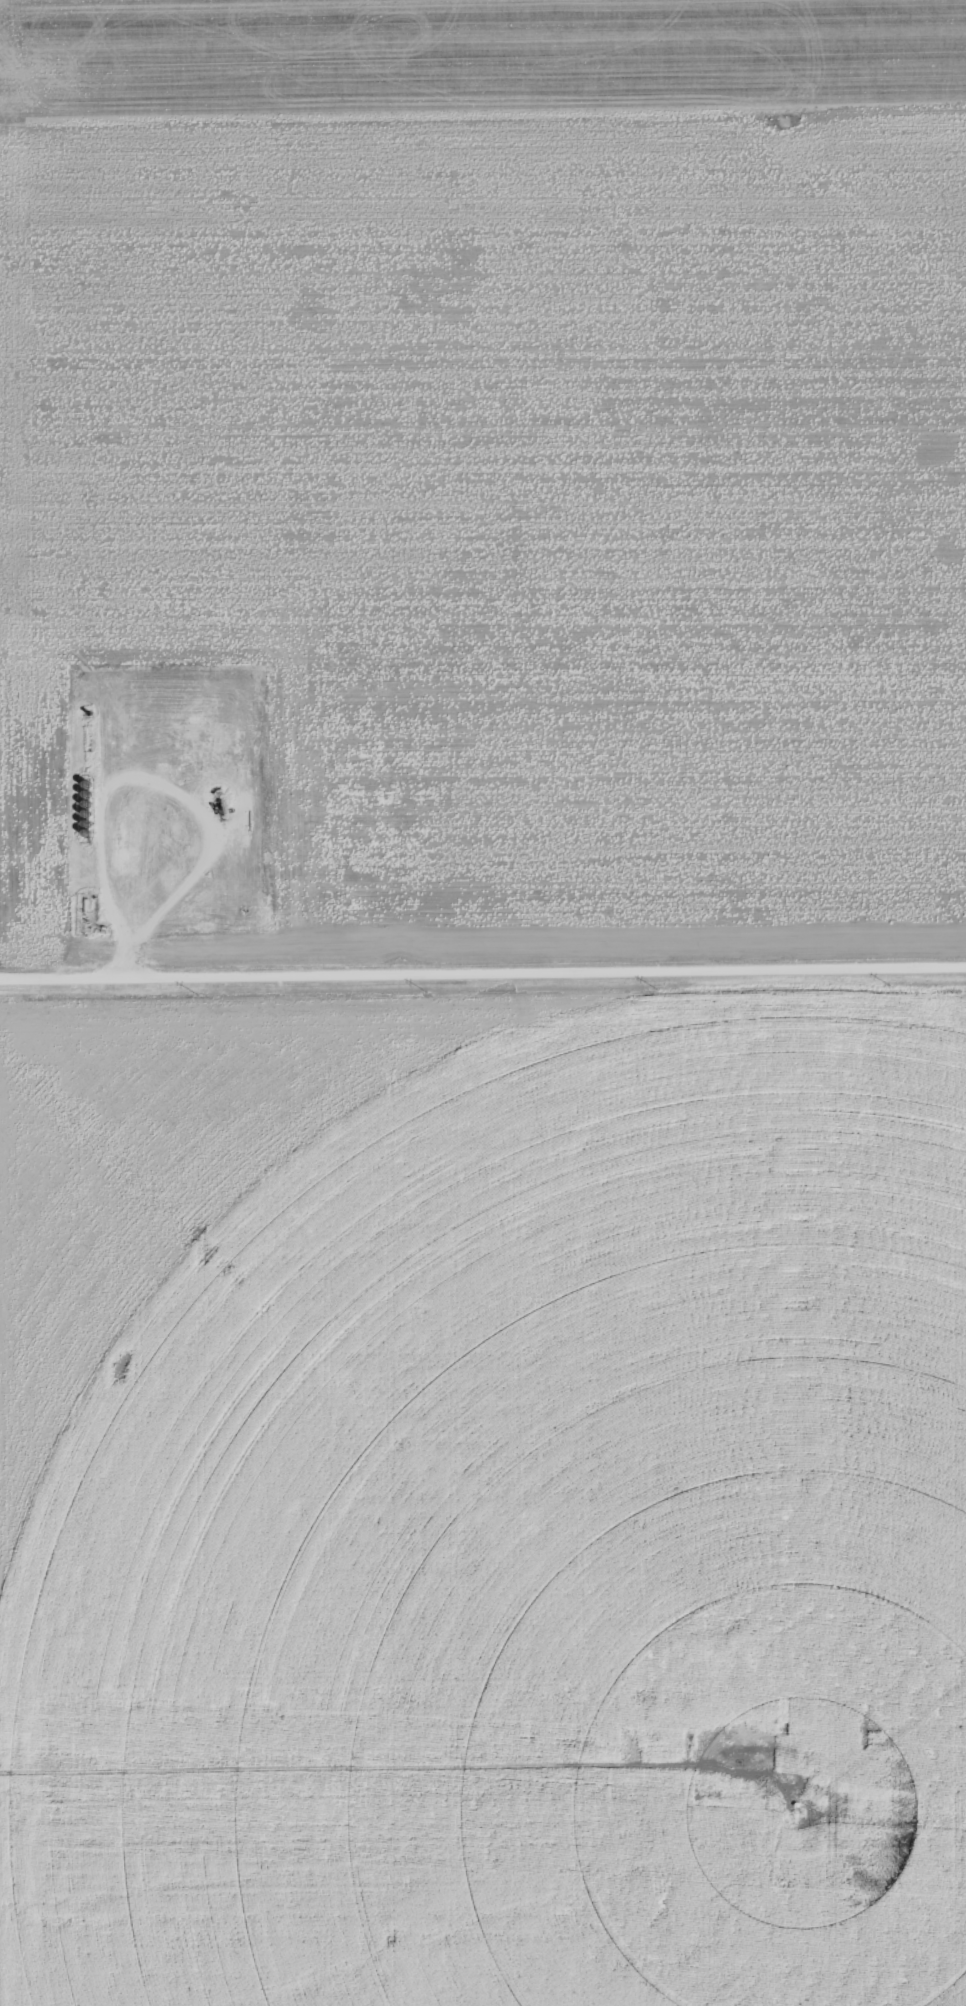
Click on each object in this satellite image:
road: (482, 969)

